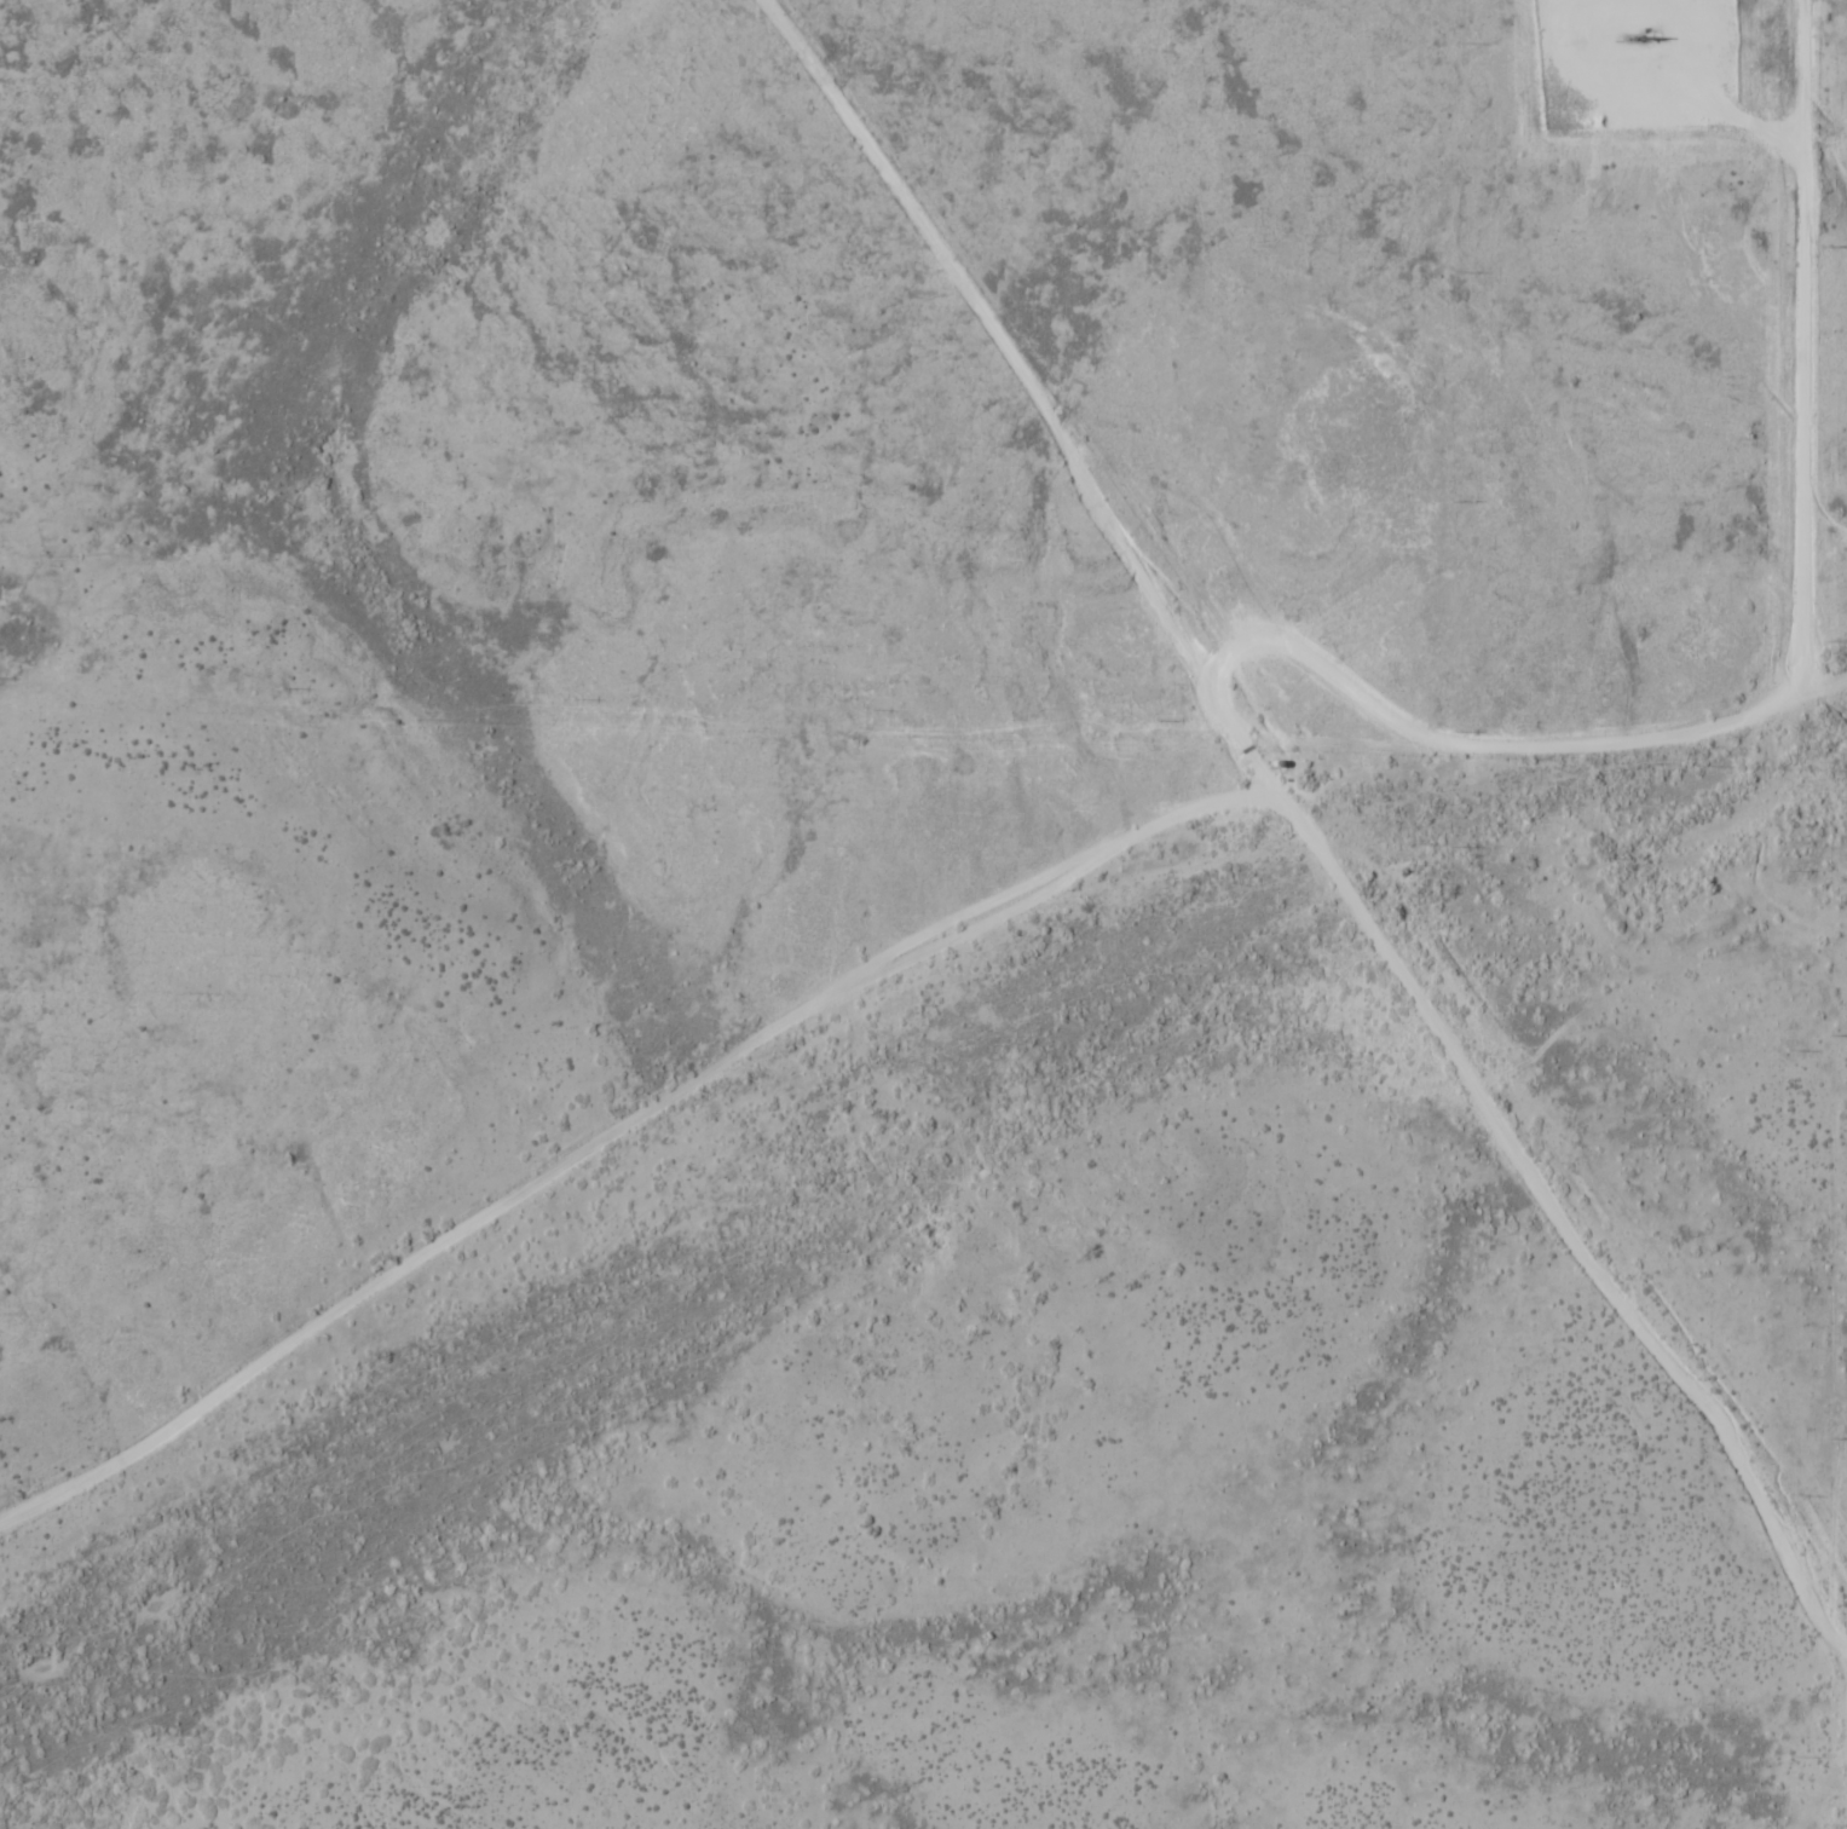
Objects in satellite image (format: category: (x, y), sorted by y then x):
petroleum well: (1635, 37)
road: (1672, 65)
power tower: (1828, 247)
road: (1800, 374)
power tower: (1826, 641)
road: (1508, 751)
road: (1298, 824)
power tower: (1830, 1034)
road: (624, 1123)
power tower: (1832, 1437)
road: (1843, 1756)
power tower: (1832, 1825)

